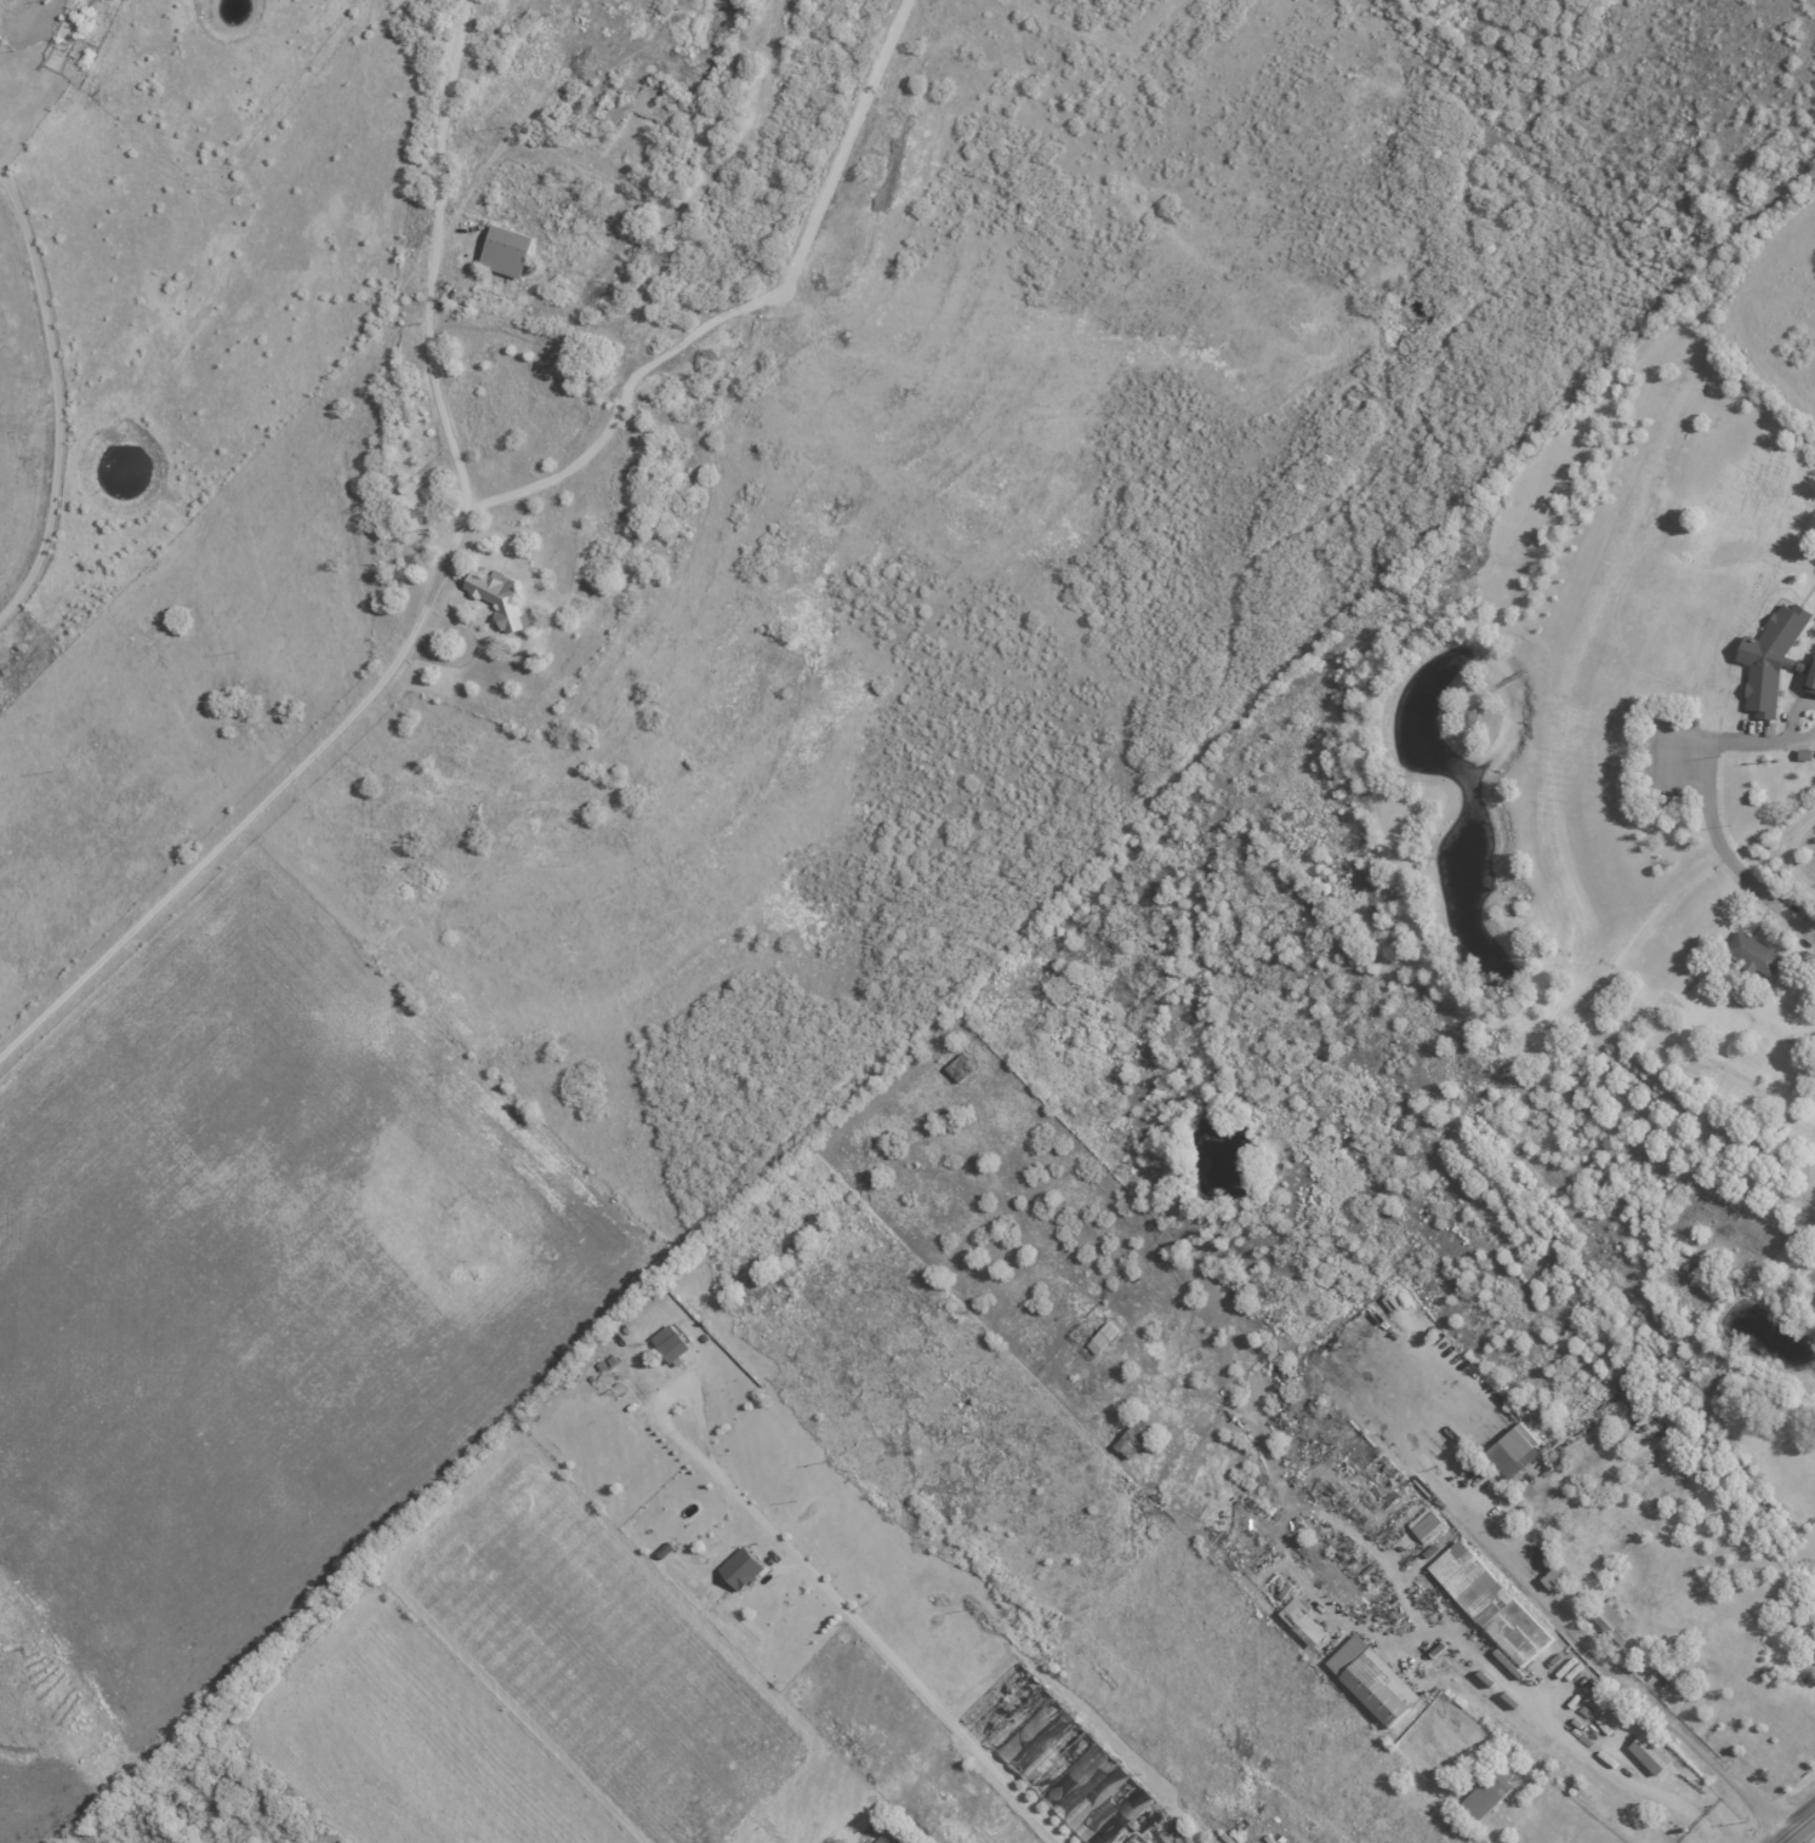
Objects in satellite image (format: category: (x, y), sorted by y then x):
building: (511, 251)
road: (432, 279)
road: (745, 307)
road: (56, 400)
building: (501, 599)
building: (1776, 658)
road: (1792, 713)
road: (1802, 740)
road: (1737, 746)
road: (245, 819)
road: (1734, 869)
building: (1758, 952)
building: (1106, 1337)
building: (673, 1342)
road: (673, 1395)
building: (1138, 1437)
building: (1519, 1449)
building: (1428, 1523)
building: (744, 1568)
building: (1559, 1576)
building: (1495, 1603)
road: (1553, 1606)
building: (1610, 1617)
building: (1307, 1622)
building: (1813, 1649)
road: (897, 1659)
building: (1672, 1674)
building: (1377, 1679)
road: (1564, 1736)
building: (1041, 1740)
building: (1654, 1753)
building: (1099, 1794)
building: (1491, 1794)
road: (1797, 1827)
road: (1498, 1836)
building: (894, 1837)

